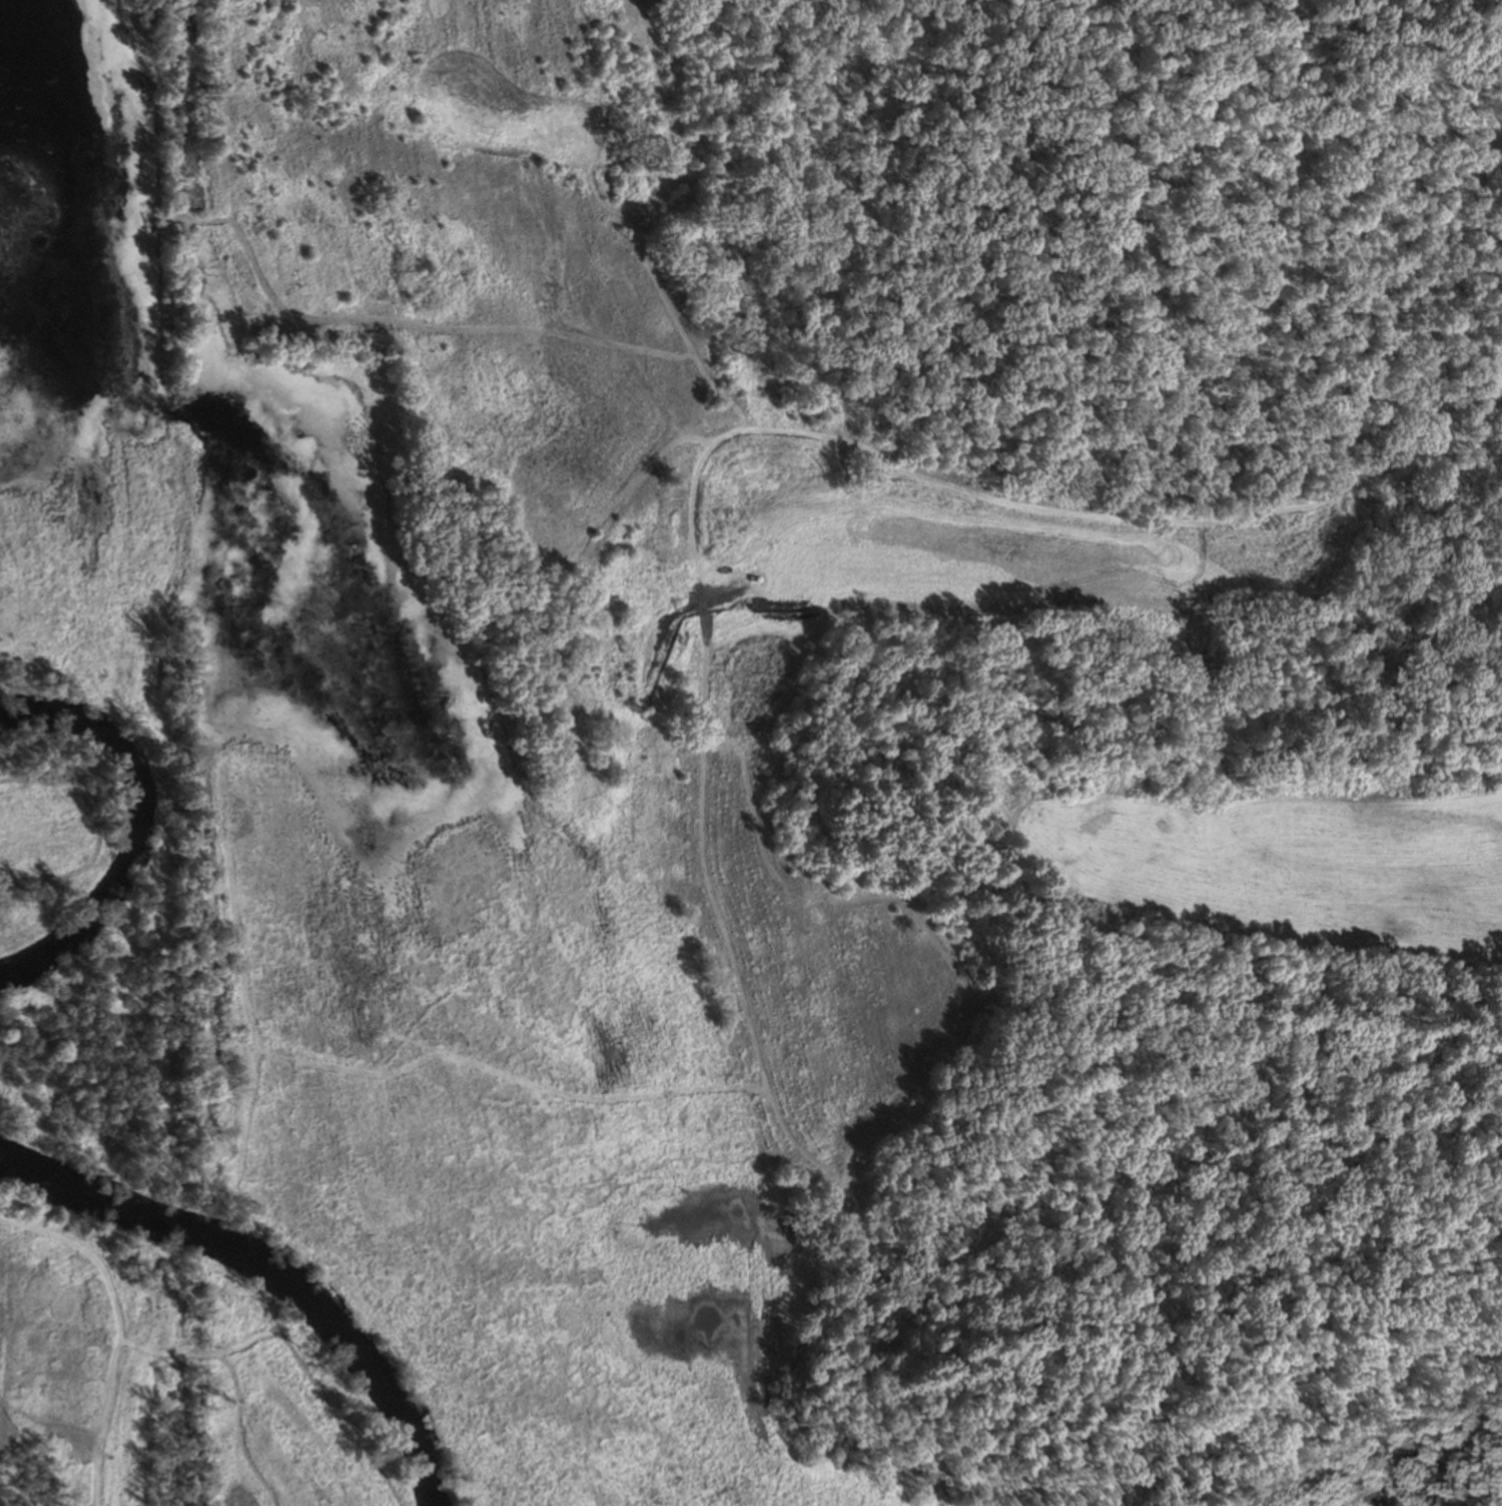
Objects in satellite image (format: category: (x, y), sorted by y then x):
river: (117, 831)
river: (267, 1271)

